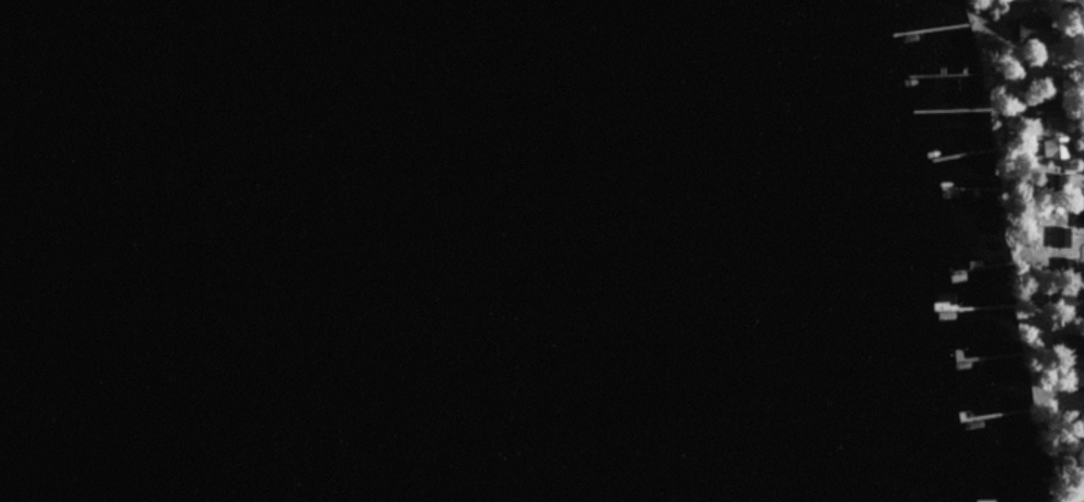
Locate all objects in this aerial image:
building: (1018, 1)
building: (1037, 30)
building: (1038, 77)
building: (1047, 112)
building: (1056, 150)
building: (1055, 185)
building: (1080, 218)
building: (1058, 234)
building: (1073, 301)
building: (1071, 347)
building: (1076, 382)

